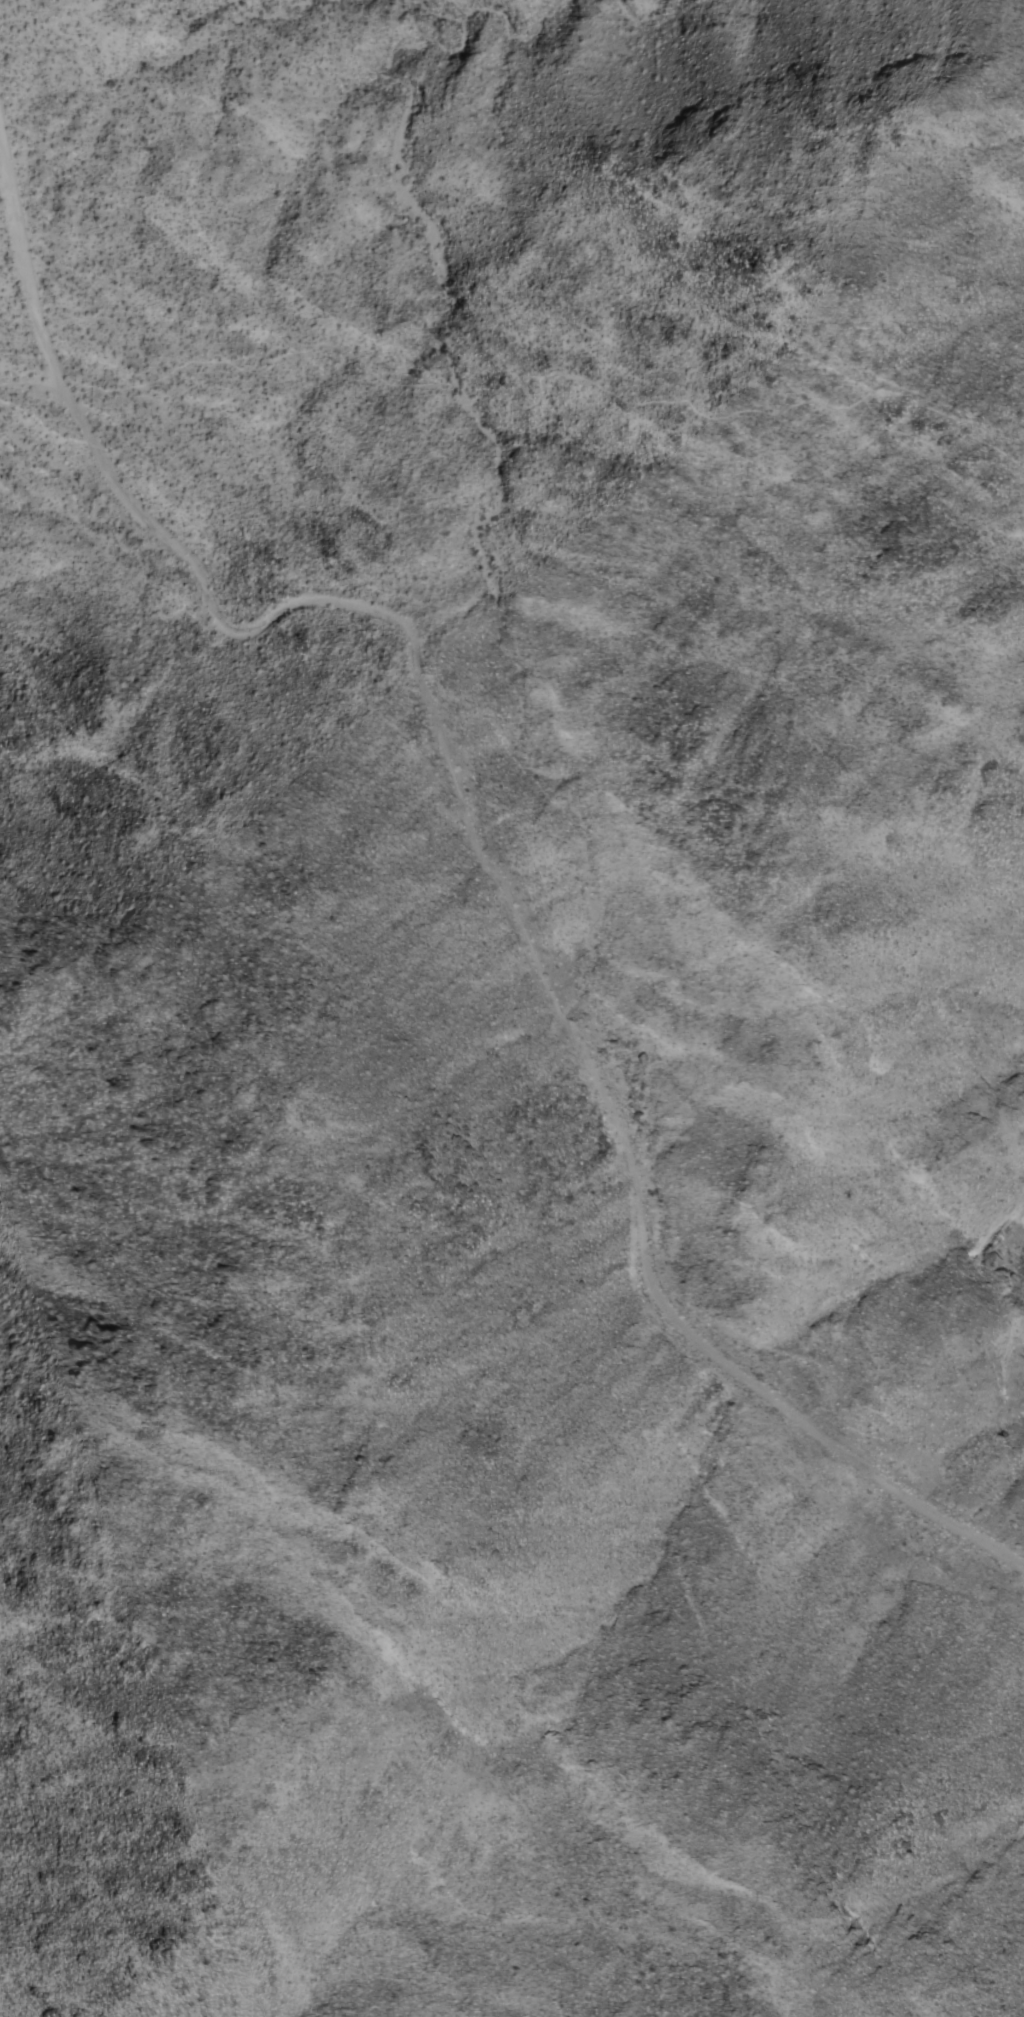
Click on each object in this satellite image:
road: (540, 383)
road: (29, 386)
road: (472, 840)

